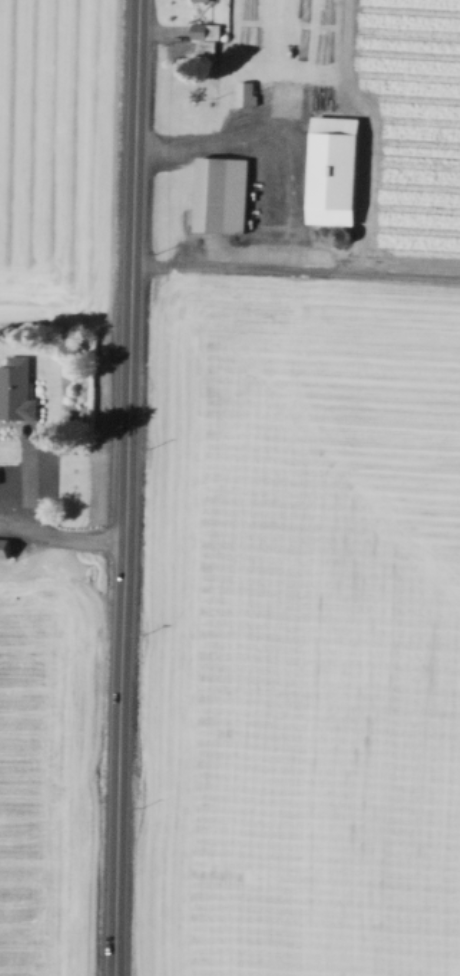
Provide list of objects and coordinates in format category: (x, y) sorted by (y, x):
building: (204, 1)
building: (207, 31)
building: (208, 49)
building: (247, 94)
building: (303, 95)
road: (275, 117)
building: (338, 171)
building: (224, 195)
road: (275, 202)
building: (345, 237)
silo: (345, 237)
road: (340, 269)
road: (67, 324)
building: (17, 392)
road: (124, 487)
crop: (230, 488)
road: (34, 524)
road: (20, 526)
building: (5, 550)

